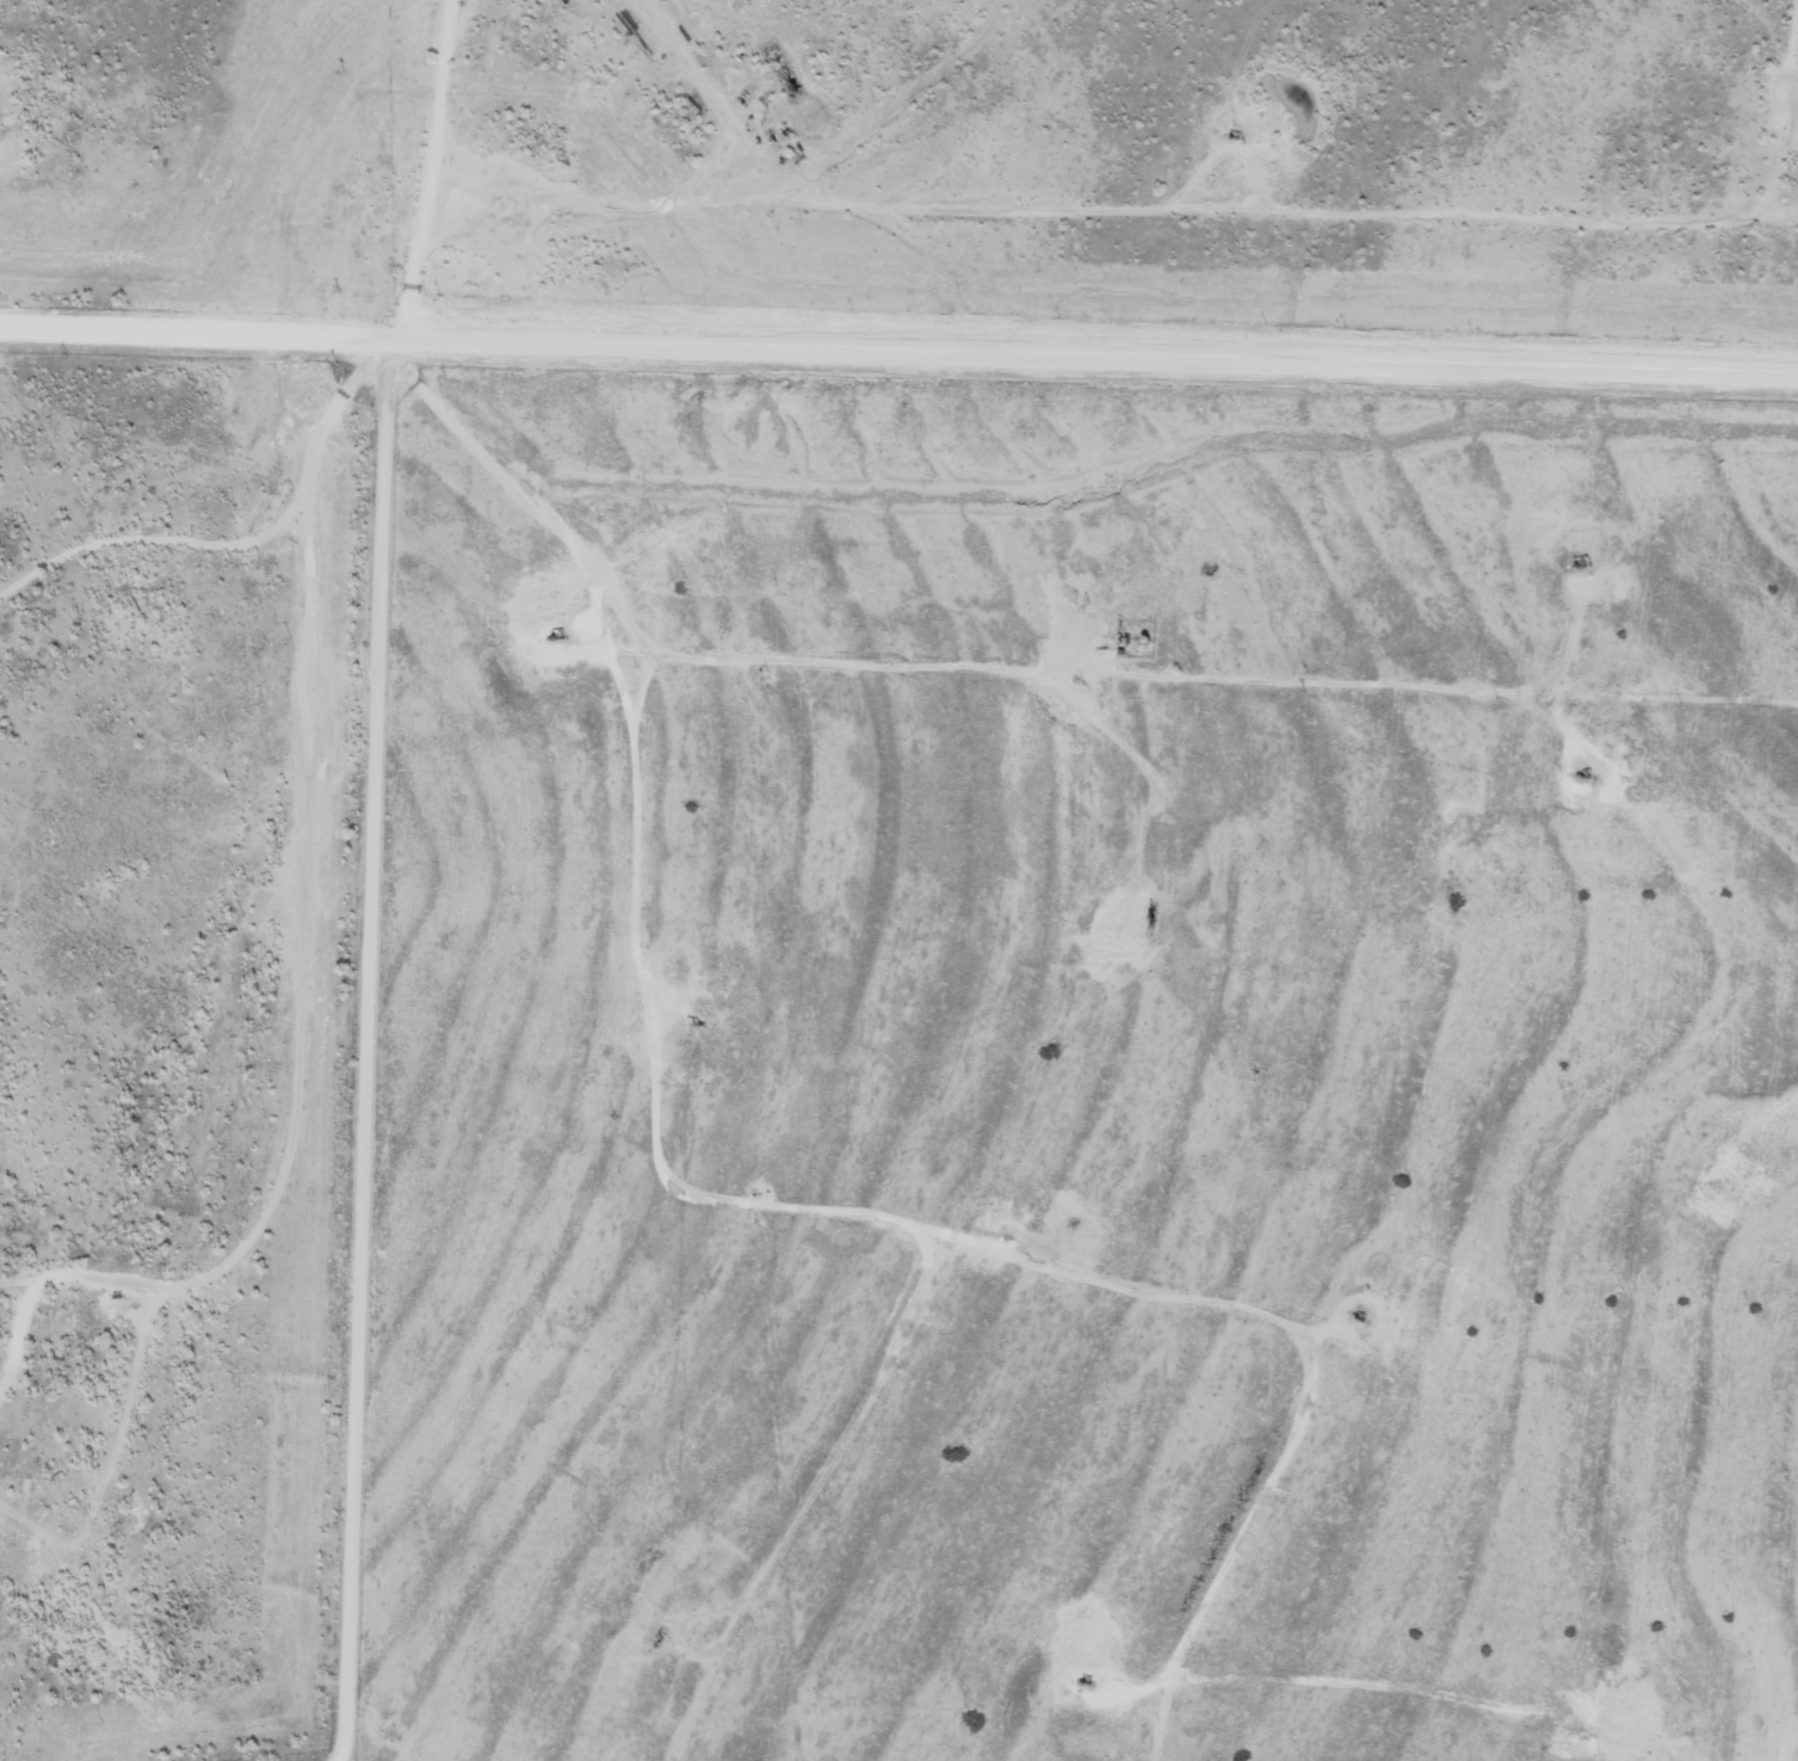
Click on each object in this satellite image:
road: (332, 43)
road: (200, 172)
road: (1570, 215)
road: (898, 373)
road: (212, 537)
road: (1215, 774)
road: (370, 873)
road: (635, 977)
road: (210, 1216)

